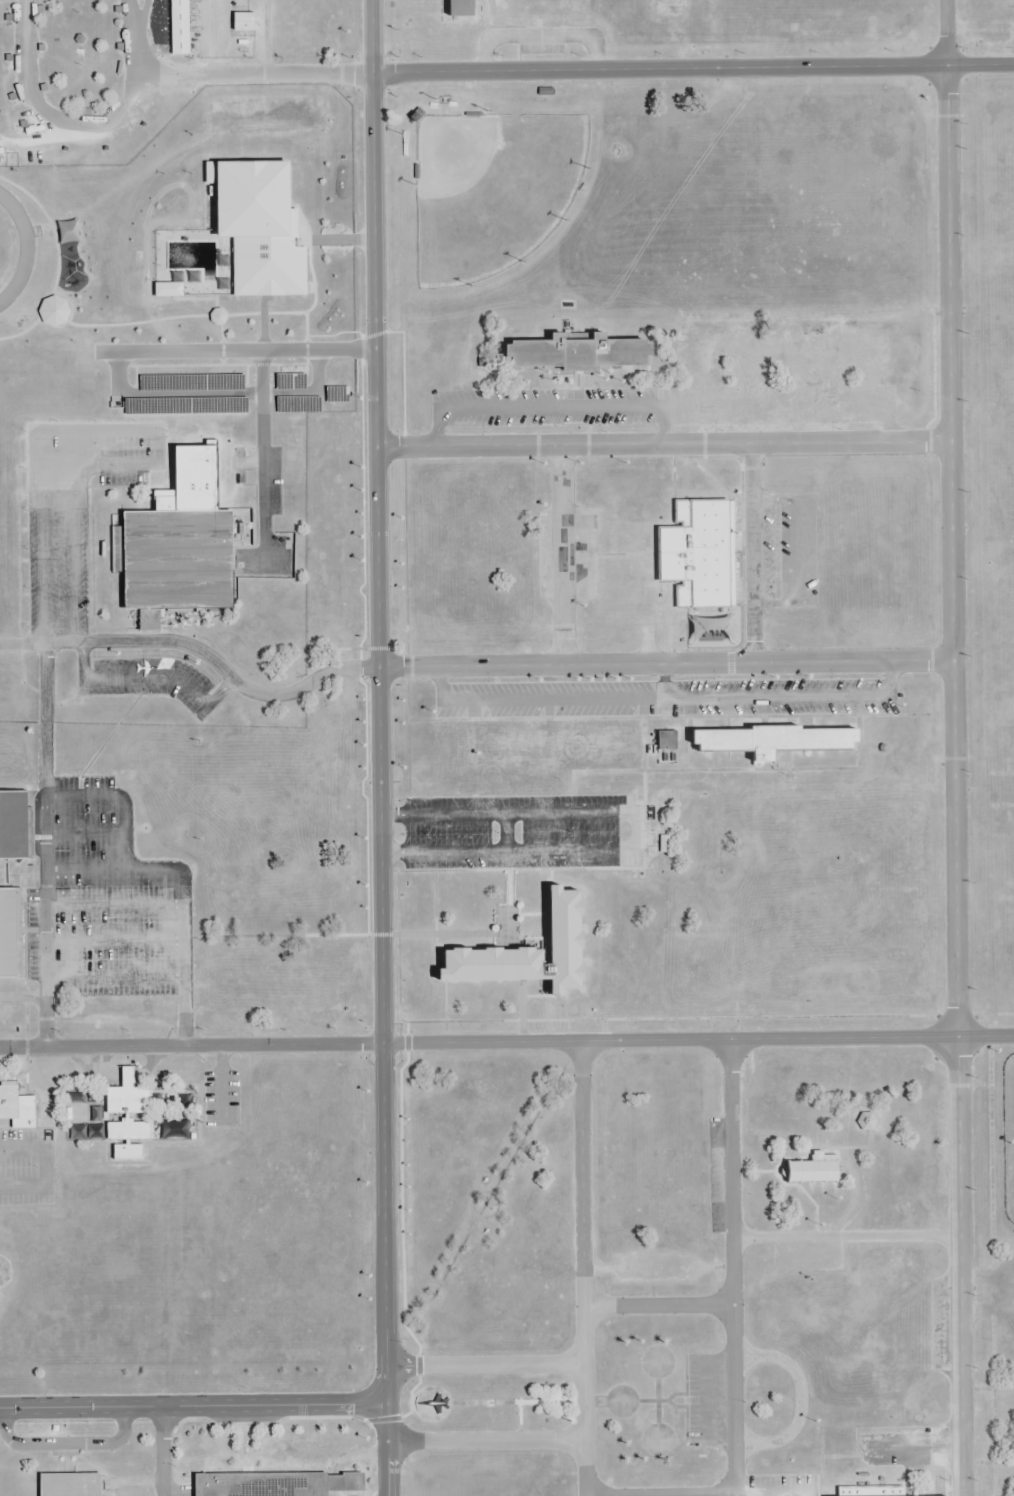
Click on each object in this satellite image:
building: (1, 0)
building: (123, 5)
building: (16, 17)
building: (242, 21)
building: (179, 27)
building: (127, 44)
road: (693, 68)
building: (94, 120)
building: (23, 133)
building: (260, 225)
building: (581, 352)
building: (795, 356)
building: (68, 373)
building: (290, 382)
building: (192, 384)
building: (337, 396)
building: (299, 405)
building: (185, 406)
road: (663, 443)
road: (950, 518)
building: (179, 543)
road: (752, 552)
building: (699, 553)
road: (563, 554)
building: (713, 629)
road: (666, 662)
building: (776, 741)
building: (557, 742)
building: (667, 742)
road: (381, 748)
building: (15, 825)
building: (10, 935)
building: (532, 949)
road: (797, 1037)
road: (483, 1041)
building: (128, 1096)
building: (17, 1107)
building: (172, 1129)
building: (129, 1130)
building: (127, 1152)
building: (809, 1173)
road: (733, 1266)
road: (958, 1266)
road: (584, 1268)
road: (659, 1306)
road: (486, 1364)
road: (194, 1406)
road: (487, 1440)
building: (72, 1484)
building: (282, 1484)
road: (698, 1495)

